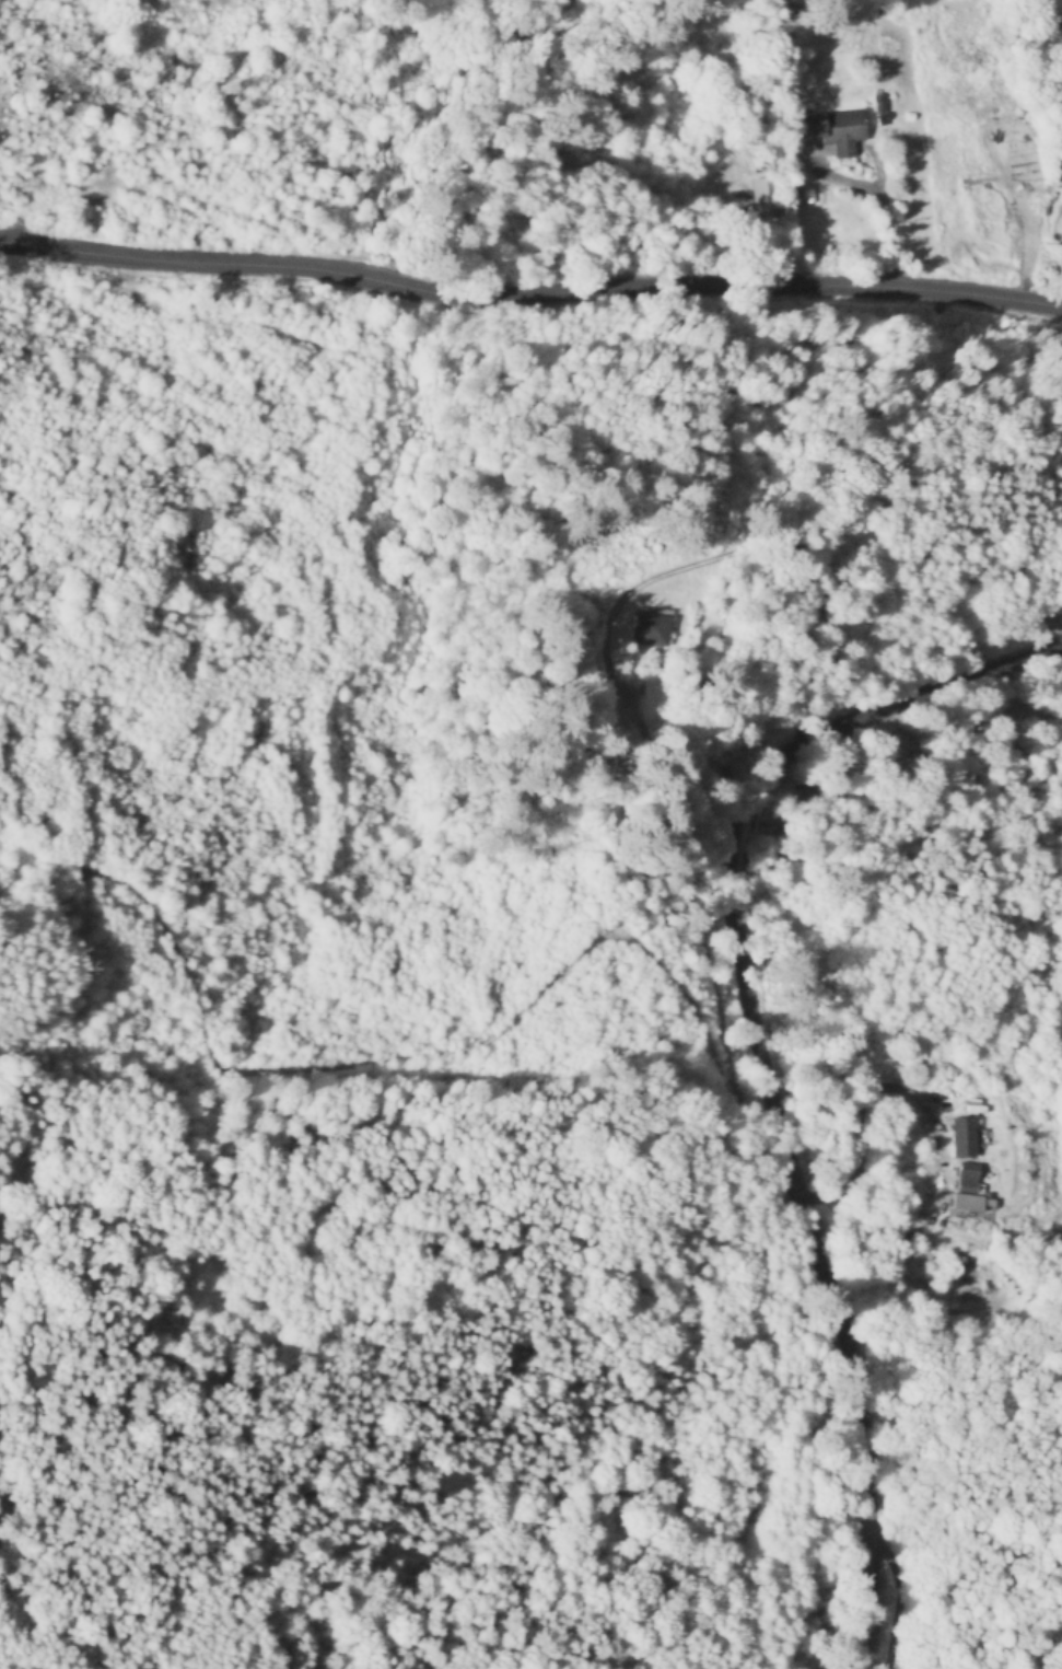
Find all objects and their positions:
building: (832, 130)
building: (765, 198)
road: (532, 265)
building: (653, 627)
road: (637, 695)
road: (770, 1065)
building: (961, 1136)
building: (966, 1203)

